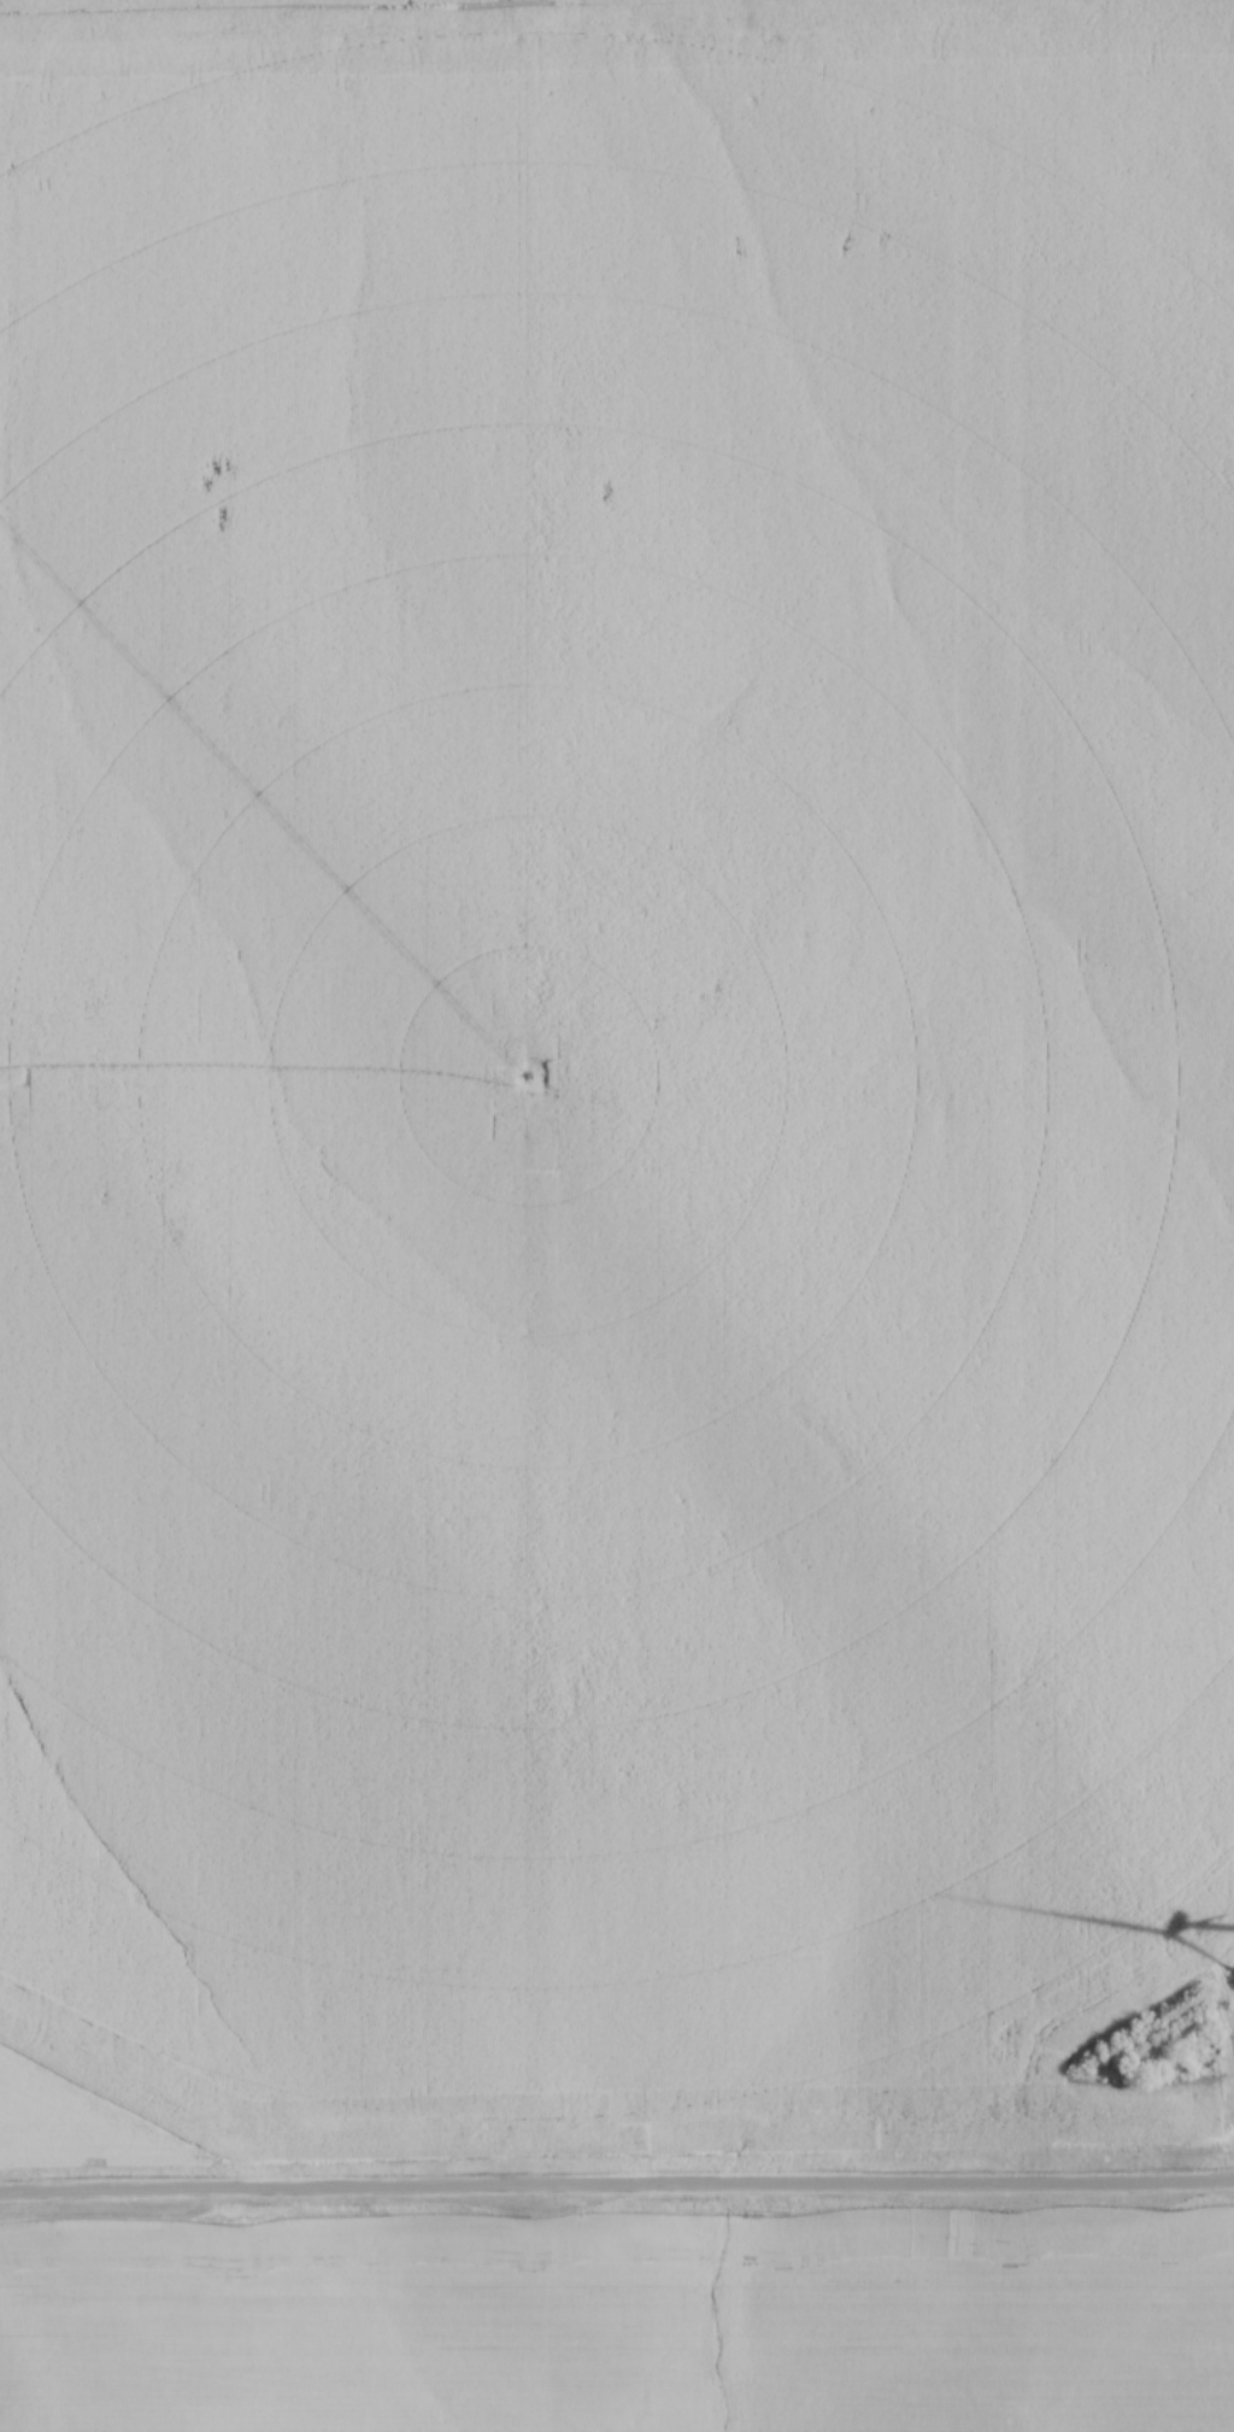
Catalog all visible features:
road: (617, 2193)

